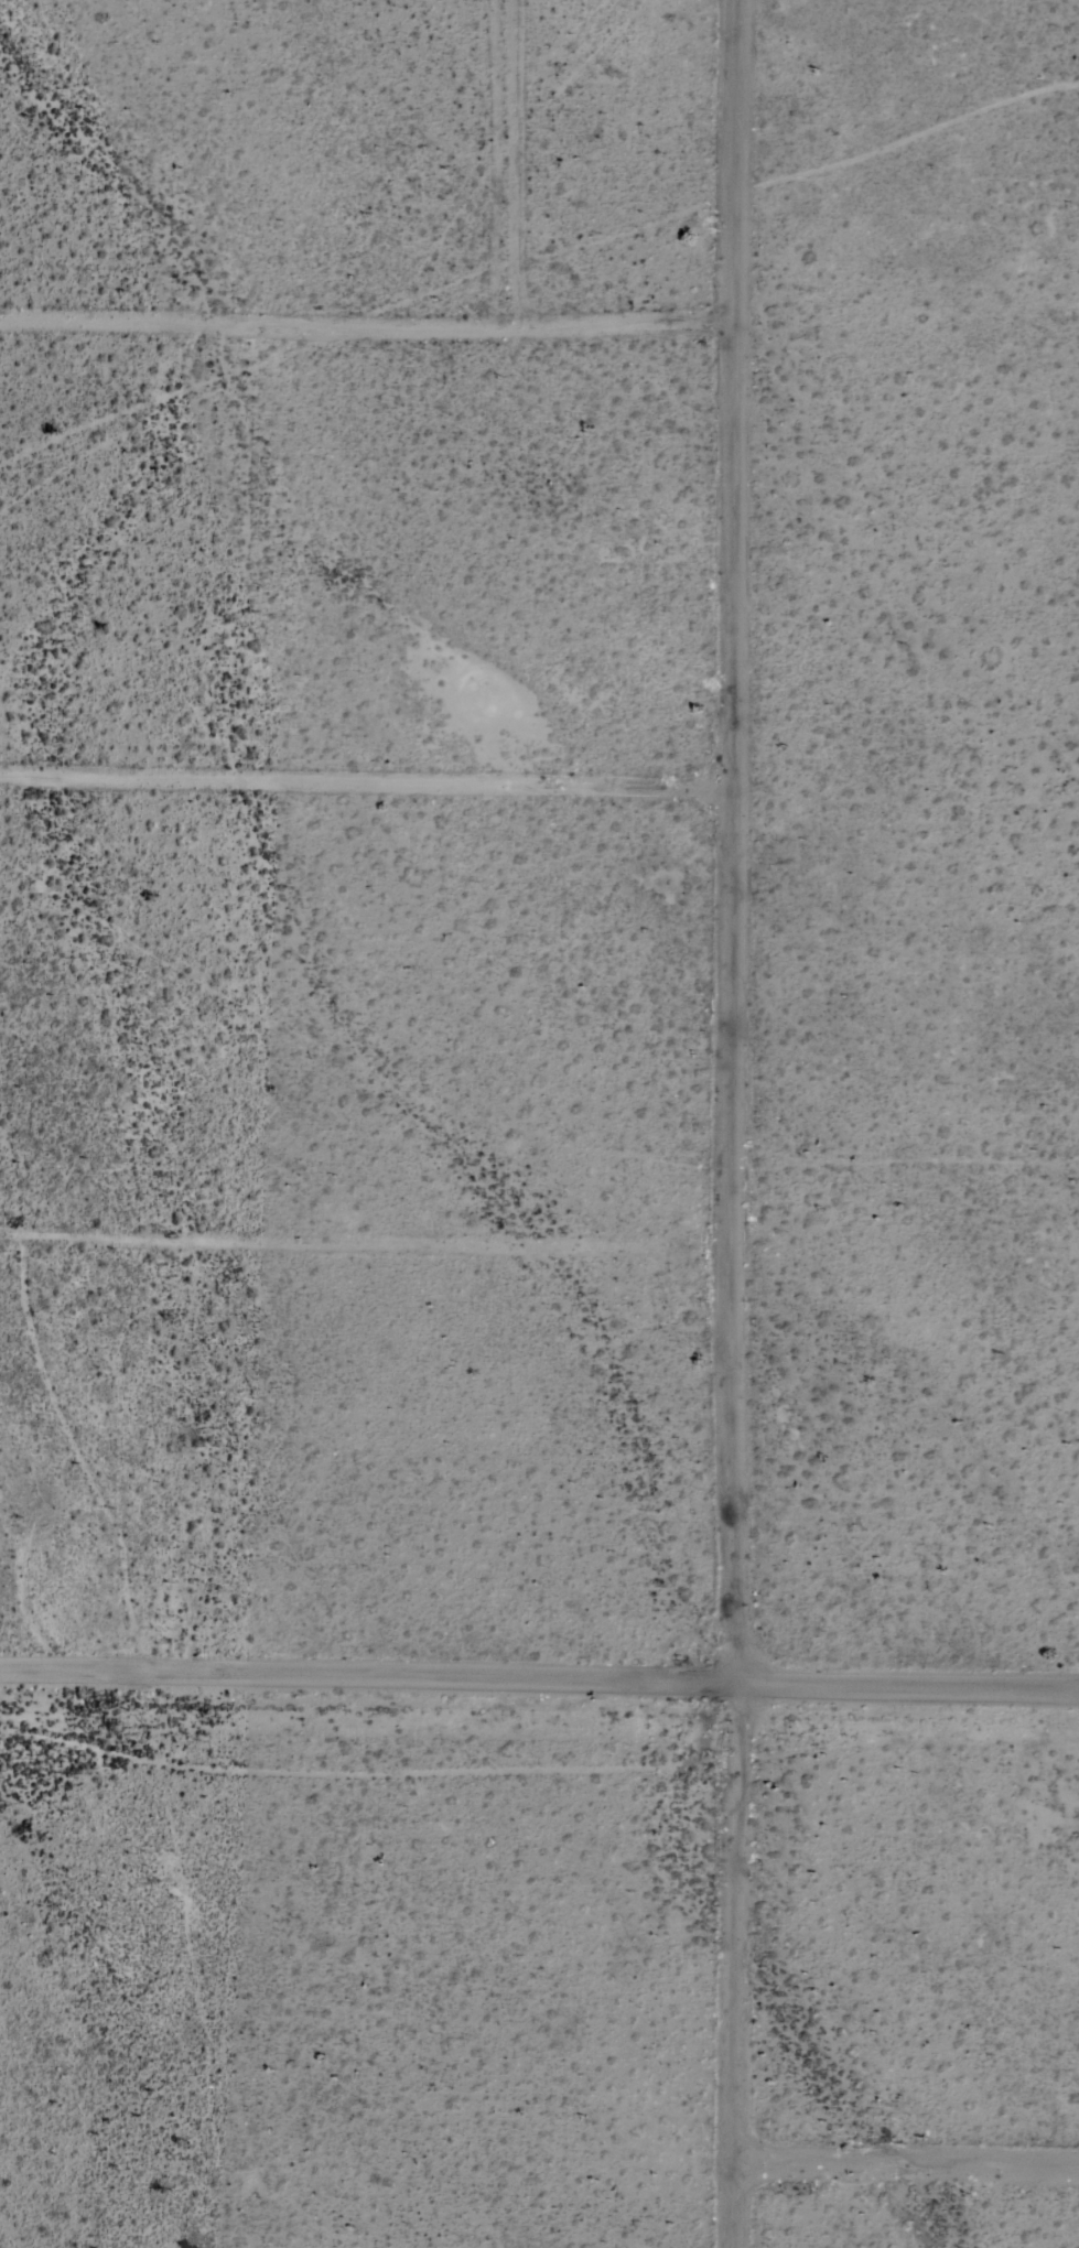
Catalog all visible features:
road: (362, 321)
road: (363, 778)
road: (730, 842)
road: (365, 1244)
road: (539, 1684)
road: (733, 1966)
road: (904, 2160)

